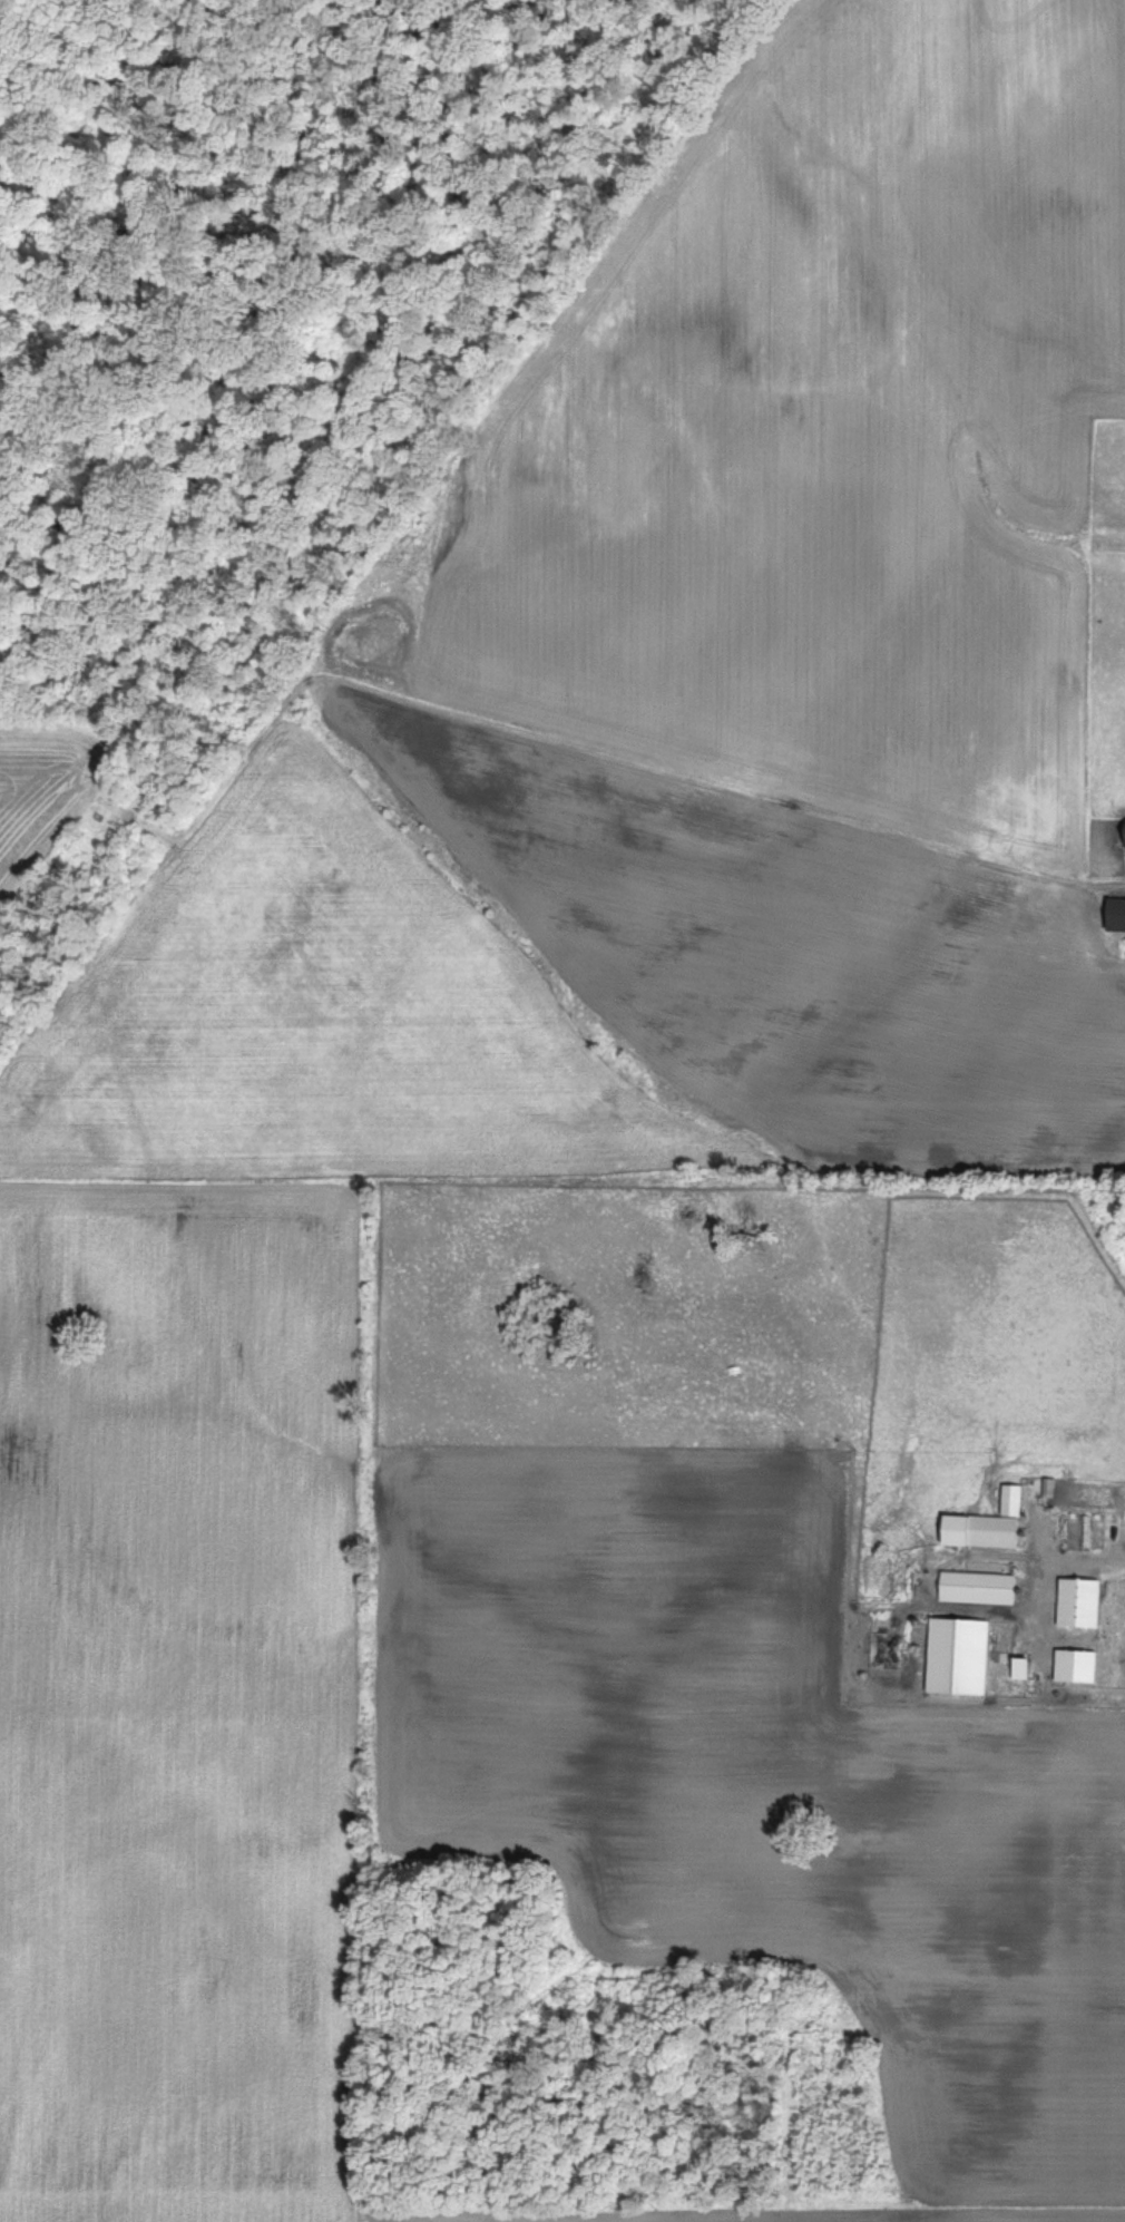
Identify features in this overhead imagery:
building: (1119, 918)
building: (1050, 1492)
building: (1002, 1528)
road: (1079, 1562)
building: (981, 1592)

